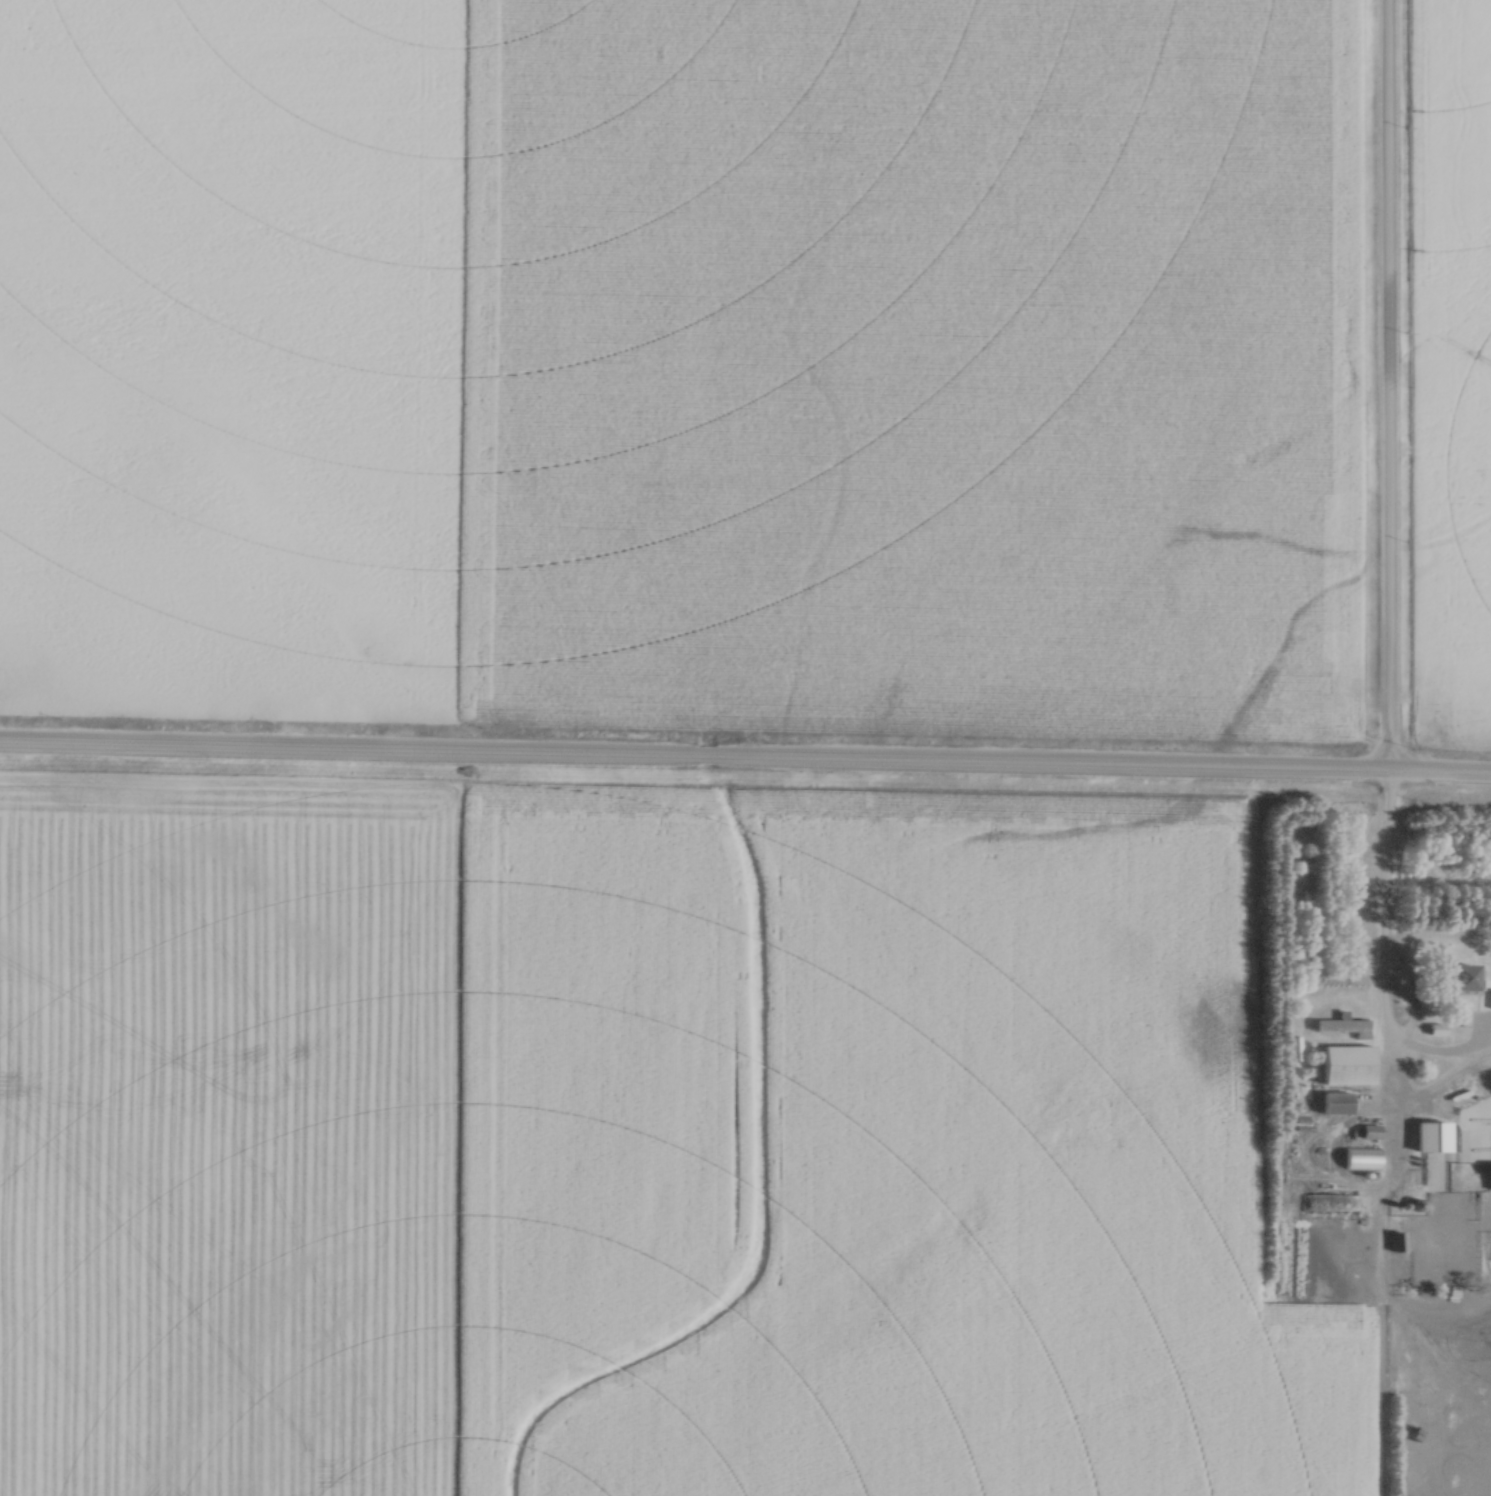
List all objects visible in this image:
road: (1391, 388)
road: (745, 763)
road: (1384, 970)
building: (1462, 977)
building: (1344, 1025)
building: (1295, 1048)
building: (1346, 1064)
building: (1335, 1103)
building: (1370, 1131)
building: (1431, 1136)
building: (1361, 1158)
building: (1489, 1176)
building: (1314, 1203)
building: (1398, 1242)

